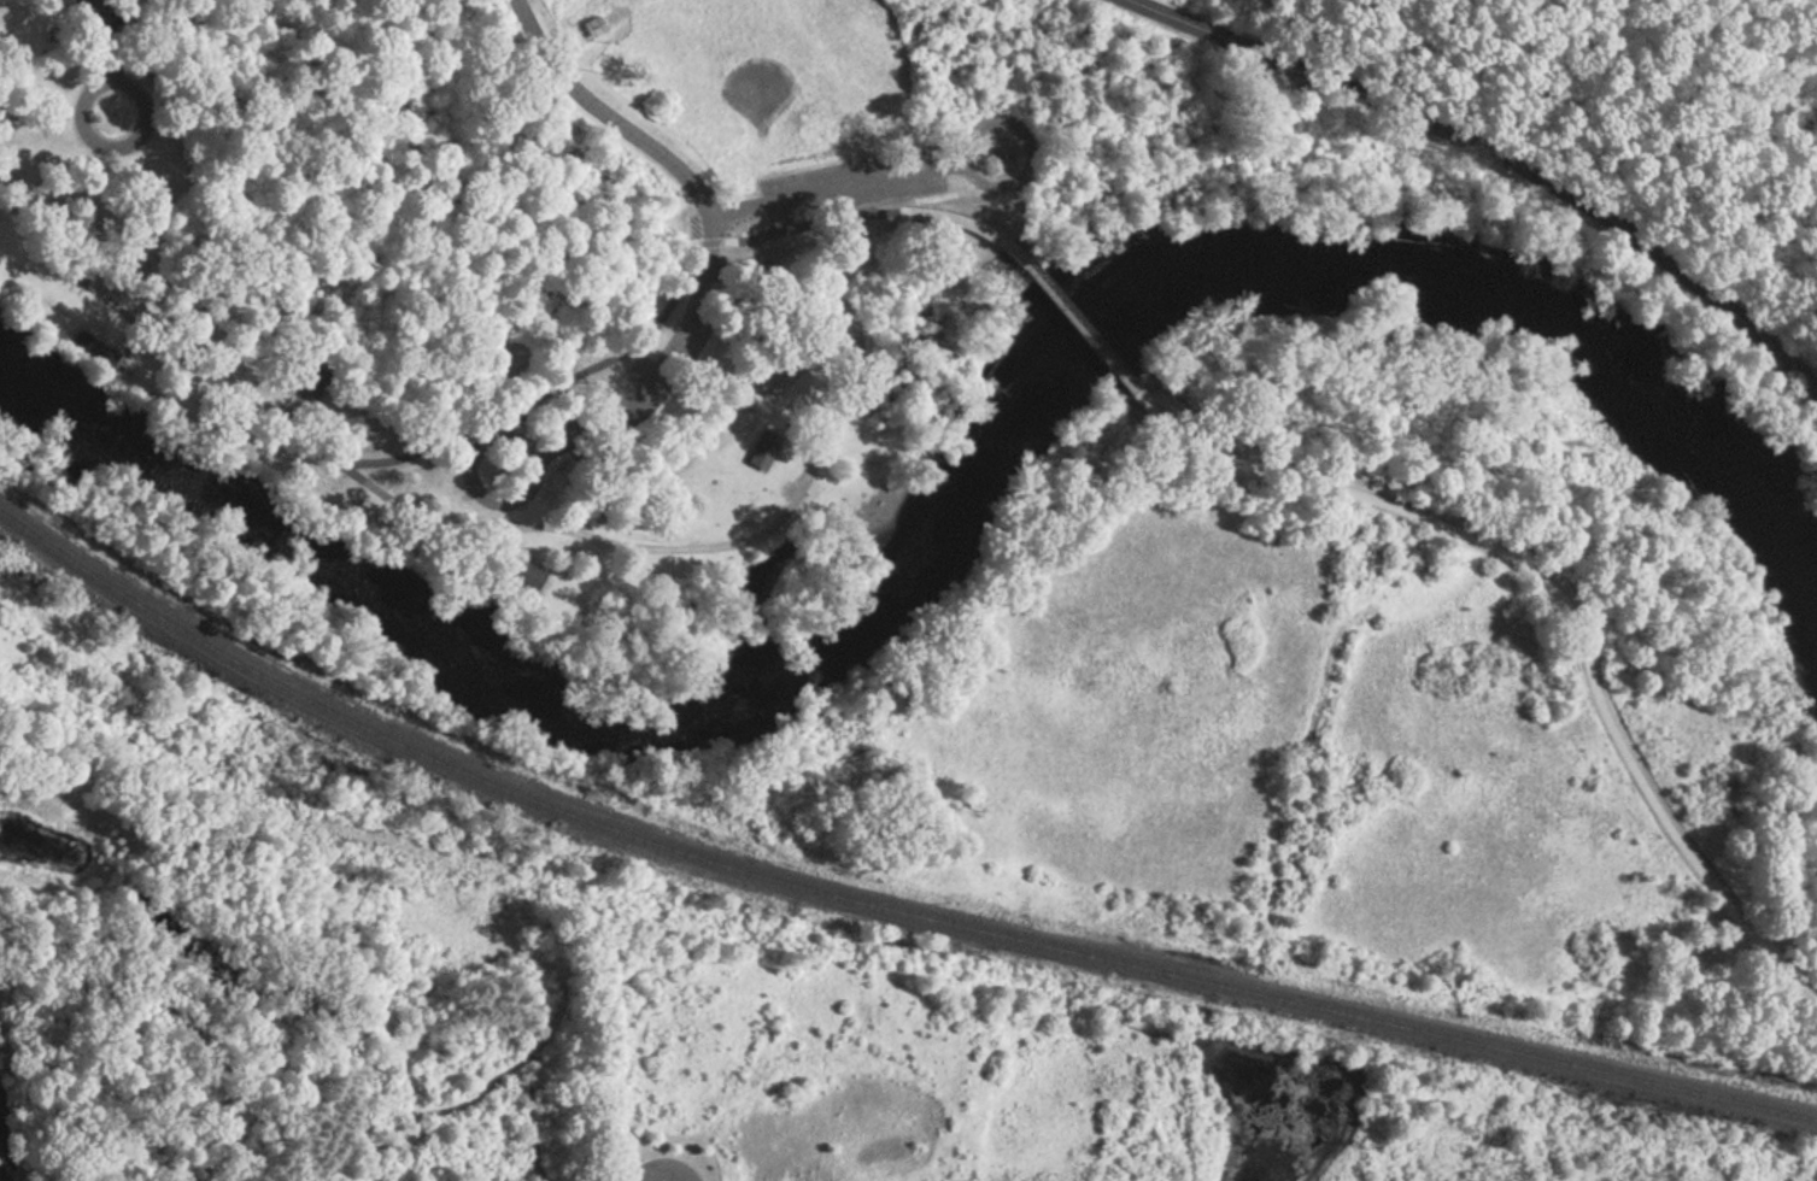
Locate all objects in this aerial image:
road: (643, 17)
parking lot: (104, 22)
building: (592, 25)
parking lot: (660, 30)
road: (111, 59)
road: (402, 142)
road: (1500, 151)
parking lot: (850, 186)
road: (854, 187)
road: (708, 216)
road: (877, 216)
building: (842, 236)
building: (862, 262)
road: (1084, 329)
building: (96, 347)
road: (129, 347)
parking lot: (647, 363)
building: (313, 375)
road: (294, 406)
road: (533, 421)
road: (502, 433)
park: (994, 443)
building: (766, 450)
road: (341, 469)
river: (945, 530)
road: (745, 540)
road: (509, 546)
building: (529, 574)
road: (1564, 598)
railway: (875, 906)
building: (660, 1169)

